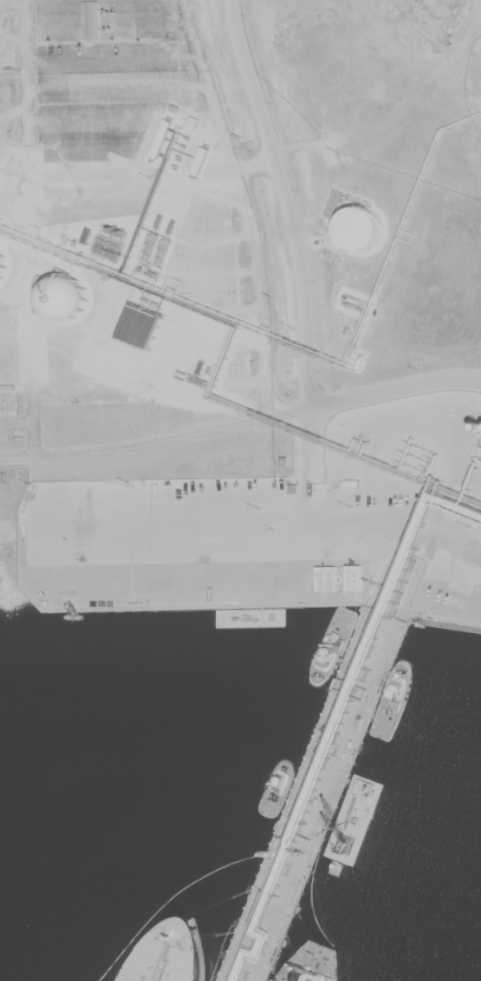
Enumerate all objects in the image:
building: (383, 24)
building: (479, 45)
road: (285, 200)
building: (344, 203)
building: (361, 227)
storage tank: (361, 227)
building: (4, 266)
storage tank: (4, 266)
building: (69, 297)
storage tank: (69, 297)
road: (395, 387)
building: (326, 577)
building: (355, 577)
building: (464, 579)
building: (393, 599)
pier: (312, 796)

